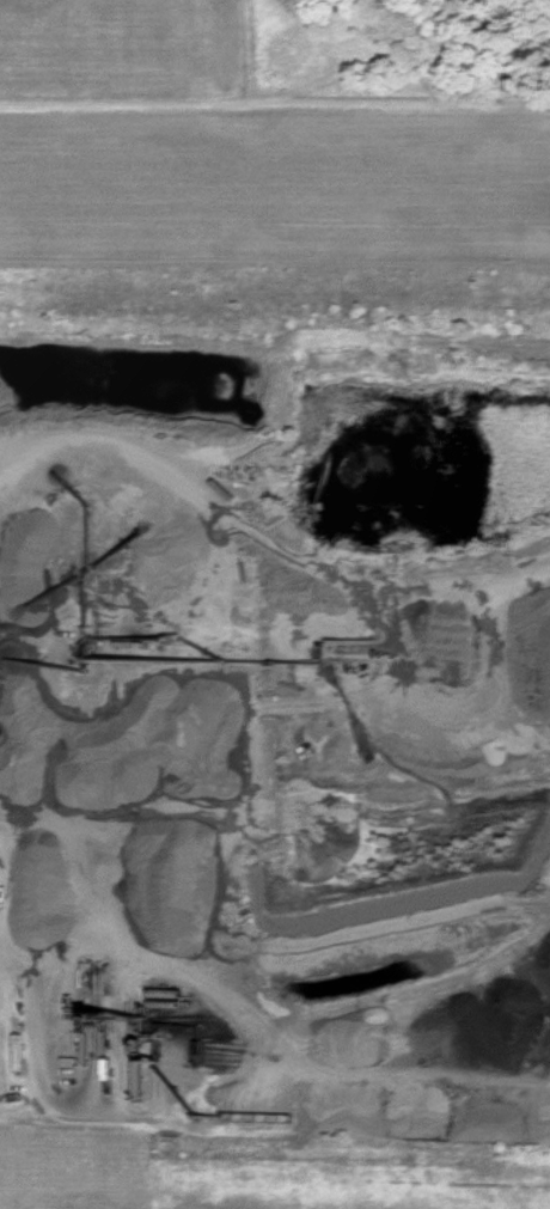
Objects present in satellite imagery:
building: (18, 359)
quarry: (275, 740)

